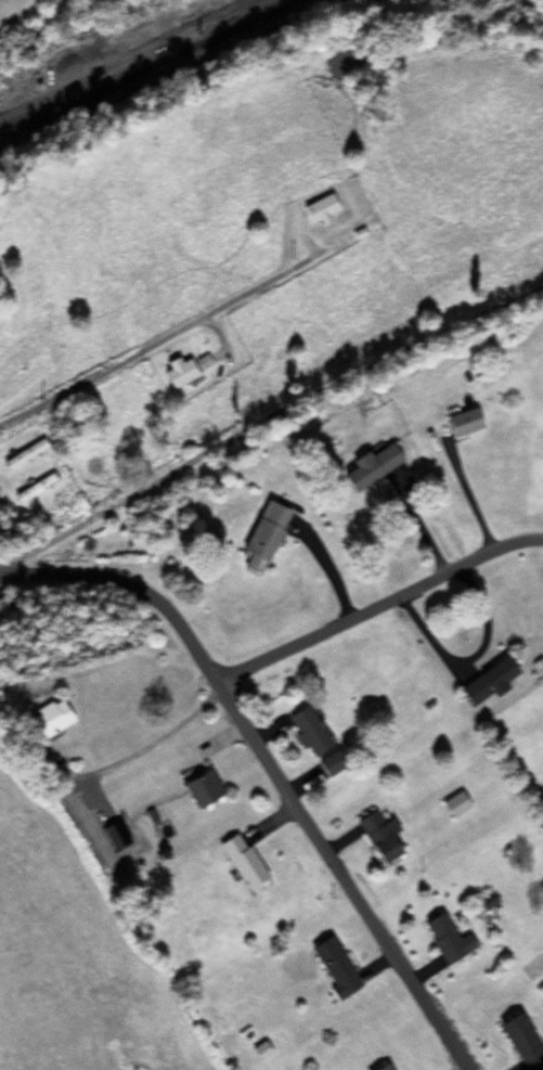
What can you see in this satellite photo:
railway: (143, 56)
building: (319, 210)
road: (155, 340)
building: (177, 374)
road: (267, 421)
building: (461, 424)
building: (23, 455)
building: (369, 467)
building: (35, 489)
building: (263, 532)
road: (377, 605)
building: (487, 682)
building: (47, 721)
building: (306, 731)
building: (328, 764)
road: (270, 765)
building: (199, 788)
building: (454, 805)
building: (377, 836)
building: (240, 861)
building: (445, 940)
building: (333, 968)
building: (517, 1036)
building: (383, 1067)

